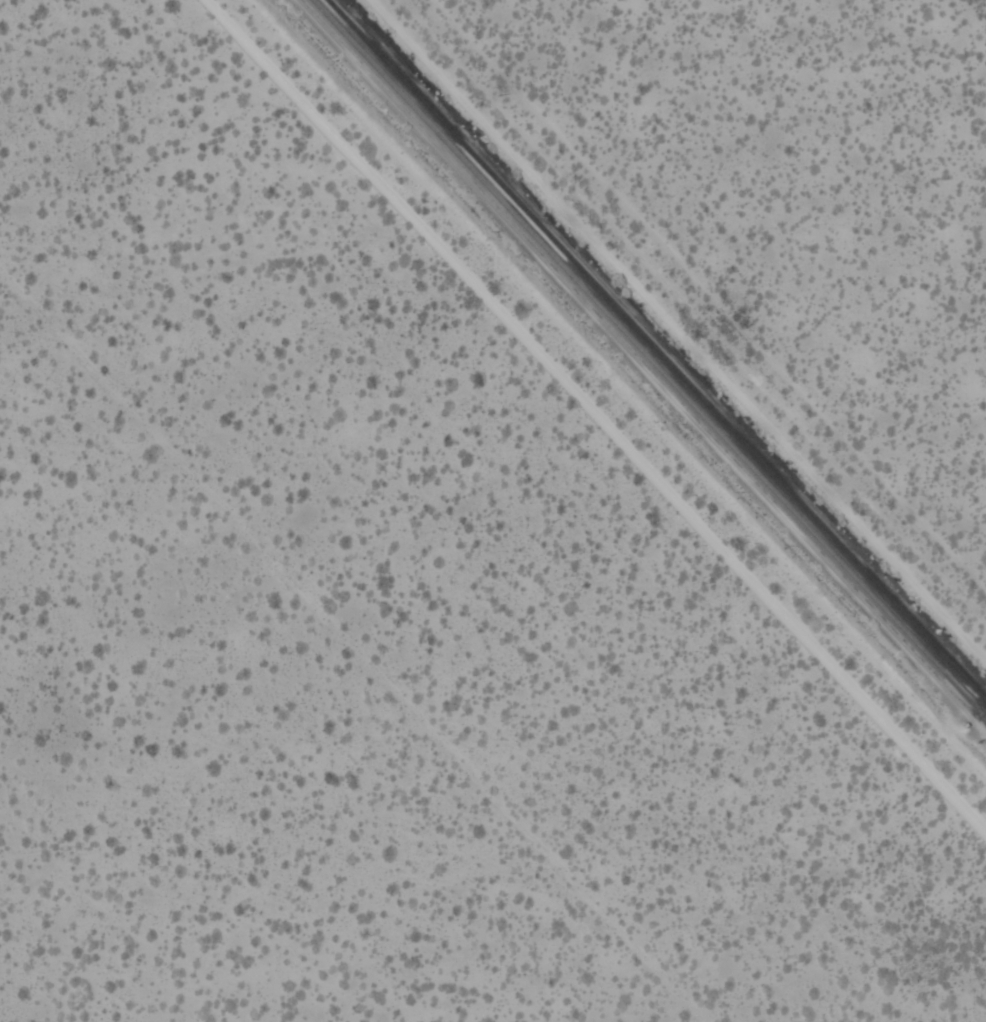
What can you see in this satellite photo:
road: (708, 295)
road: (670, 333)
railway: (656, 351)
railway: (647, 359)
road: (596, 416)
road: (351, 648)

